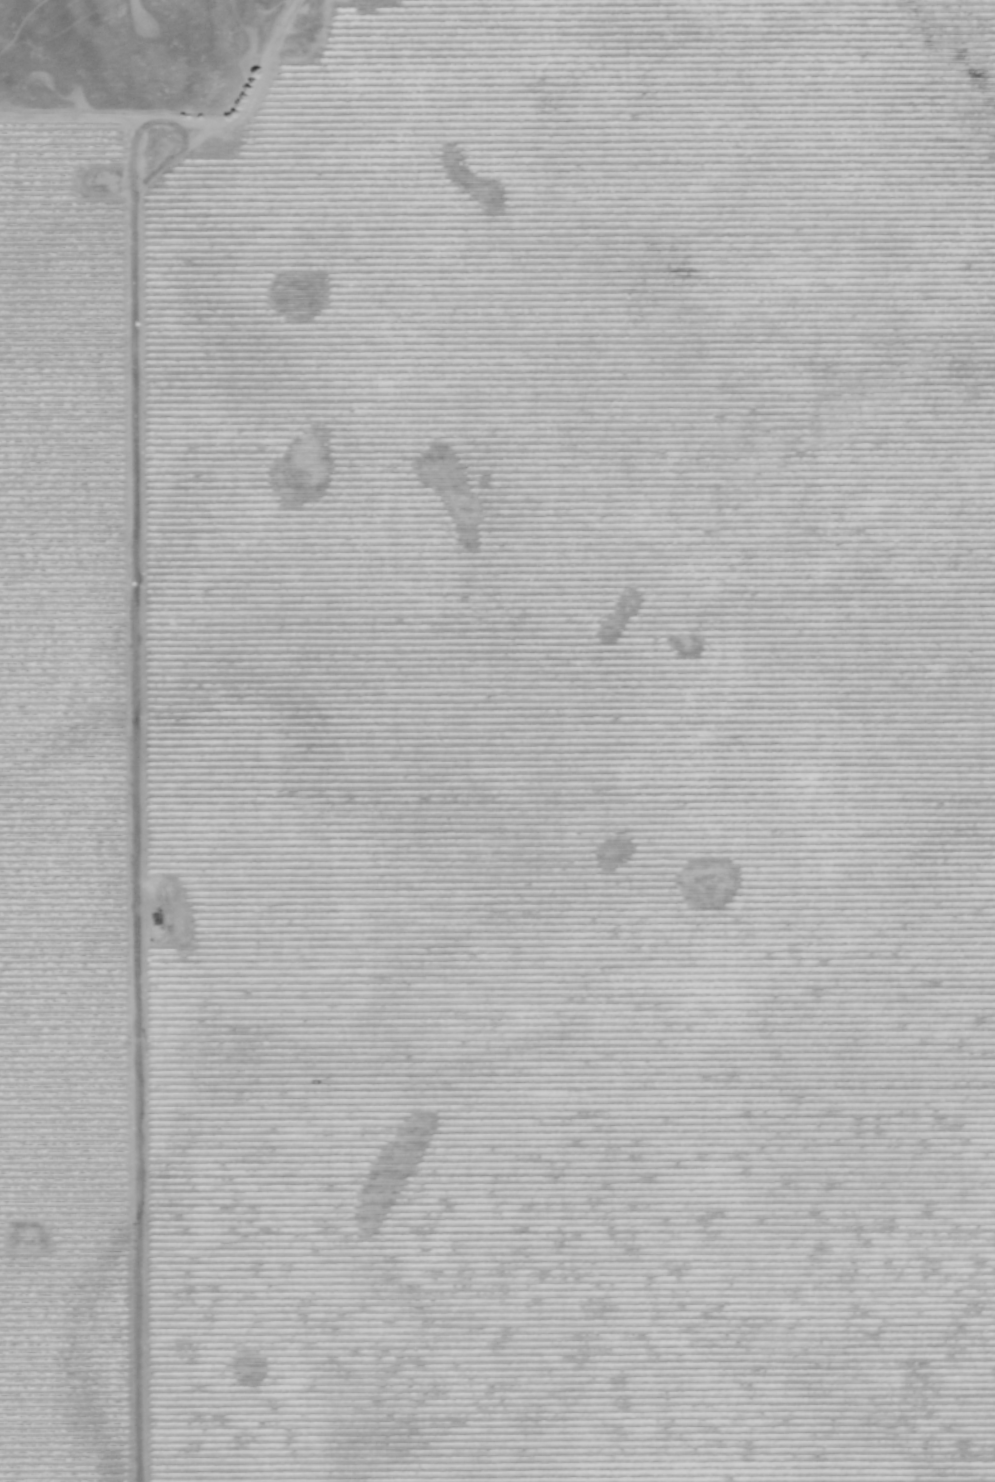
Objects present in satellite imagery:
crop: (503, 752)

